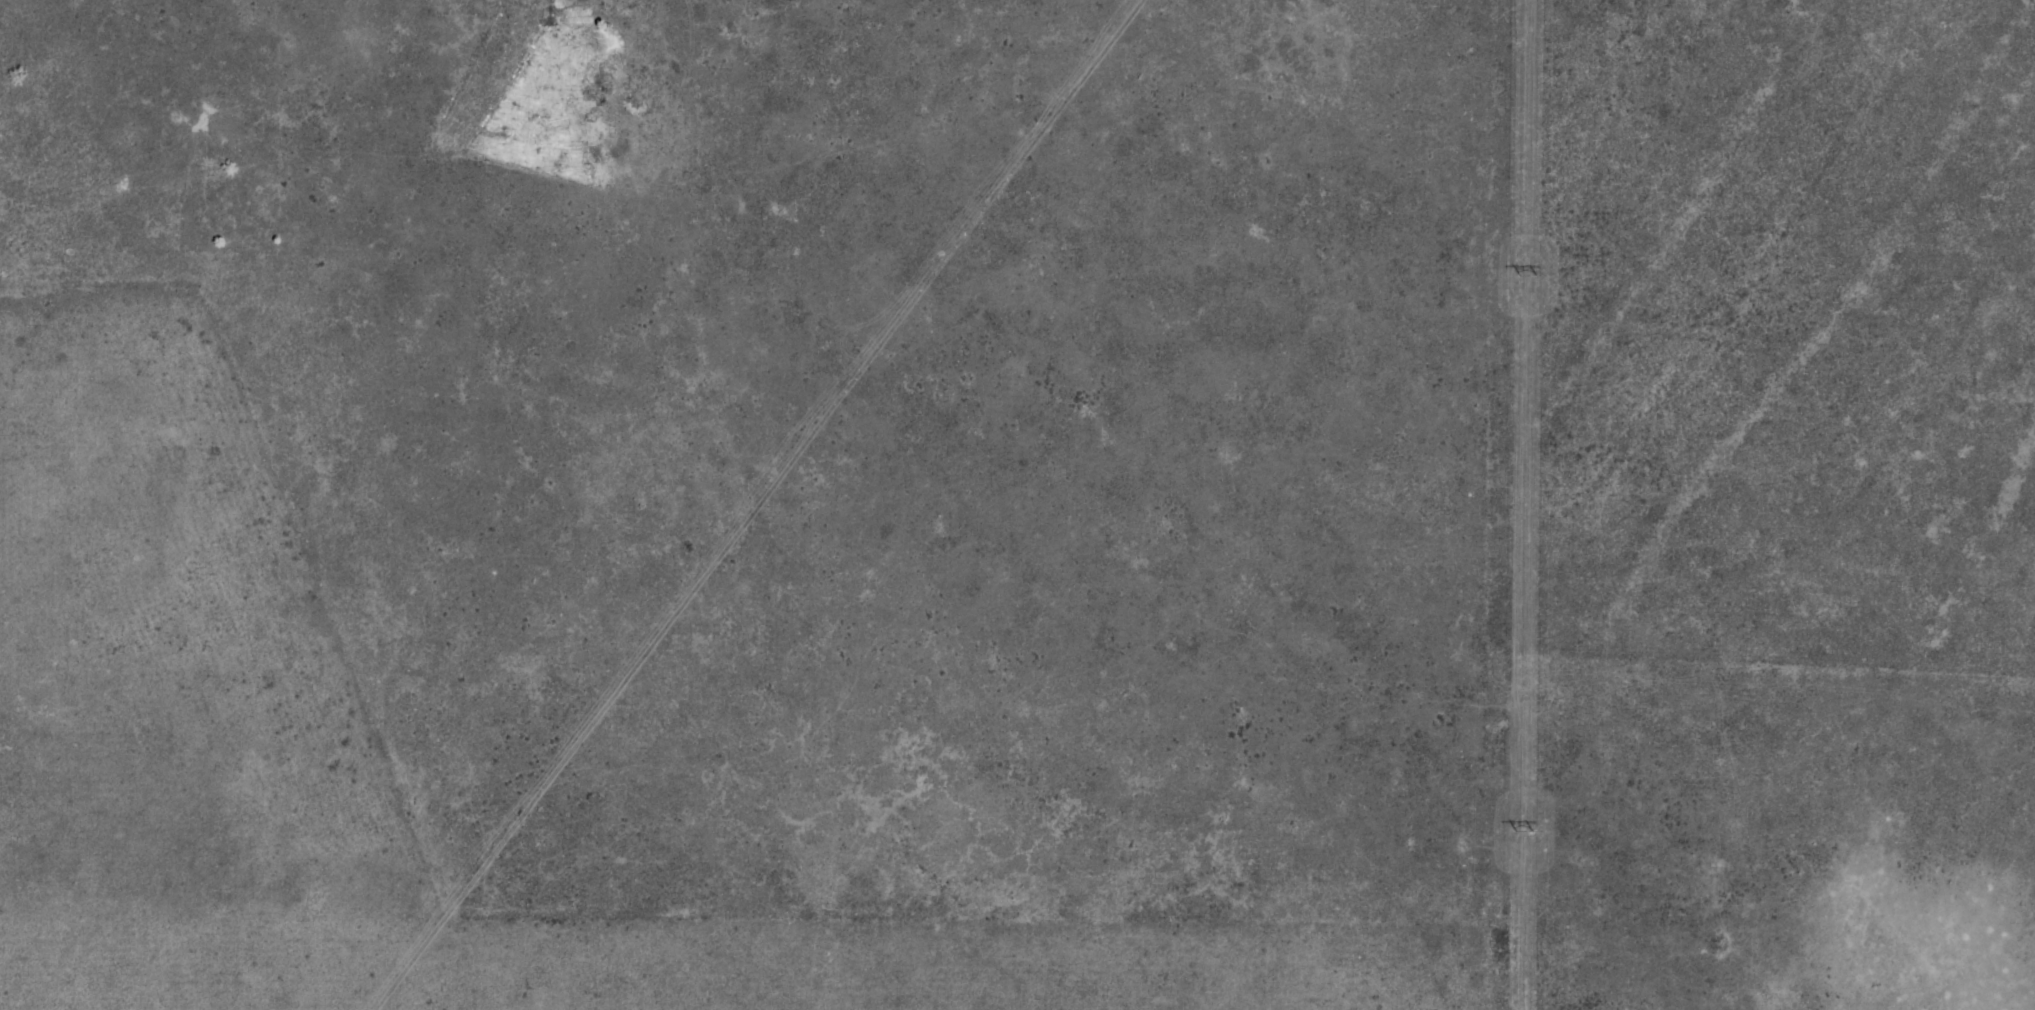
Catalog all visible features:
power tower: (1526, 277)
power tower: (1524, 830)

